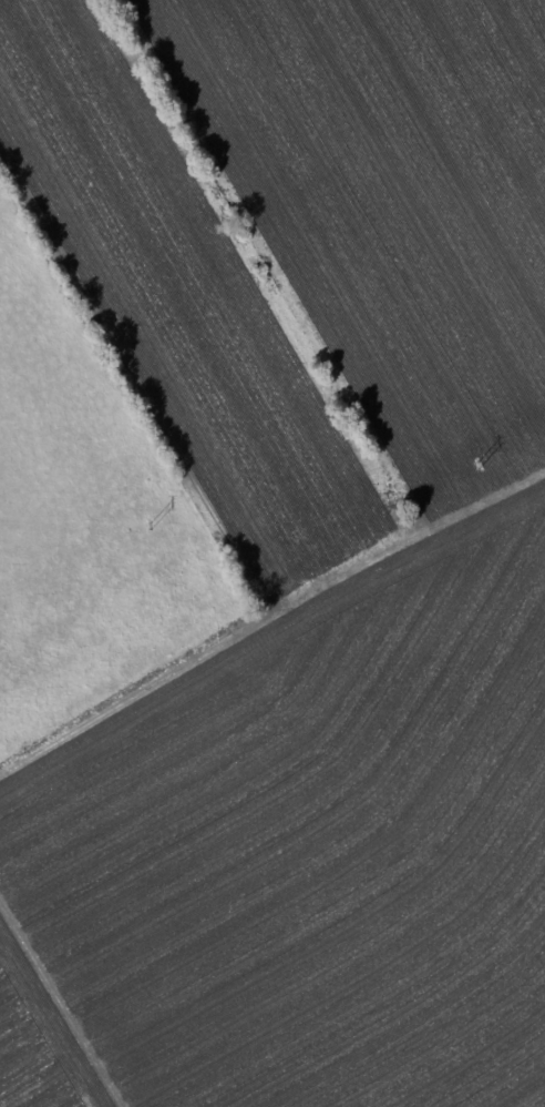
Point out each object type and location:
power tower: (469, 467)
power tower: (138, 527)

